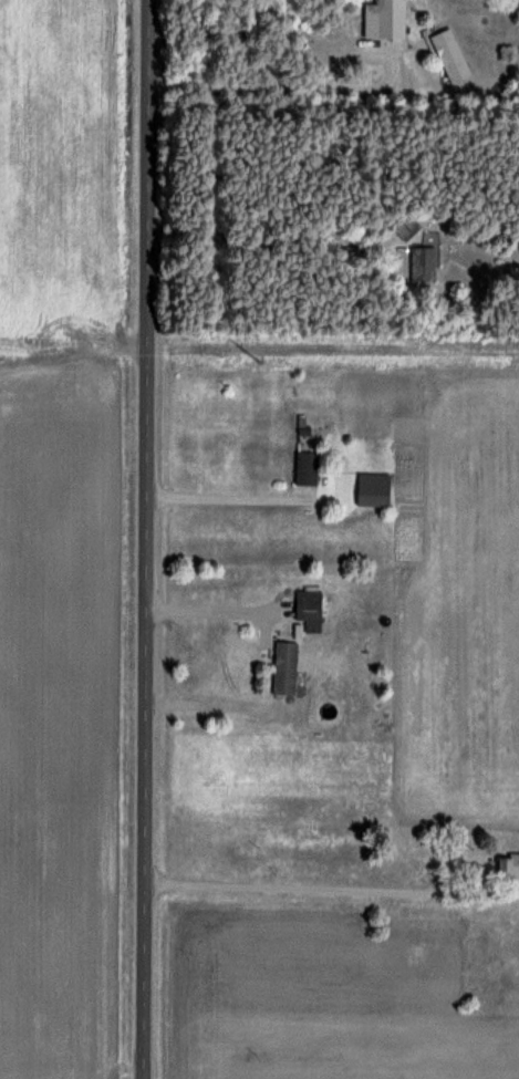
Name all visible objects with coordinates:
building: (384, 18)
building: (449, 55)
road: (290, 86)
building: (405, 225)
road: (274, 232)
building: (423, 263)
power tower: (262, 362)
building: (305, 468)
road: (246, 498)
road: (148, 539)
building: (309, 606)
building: (284, 667)
building: (269, 754)
building: (508, 865)
road: (334, 889)

